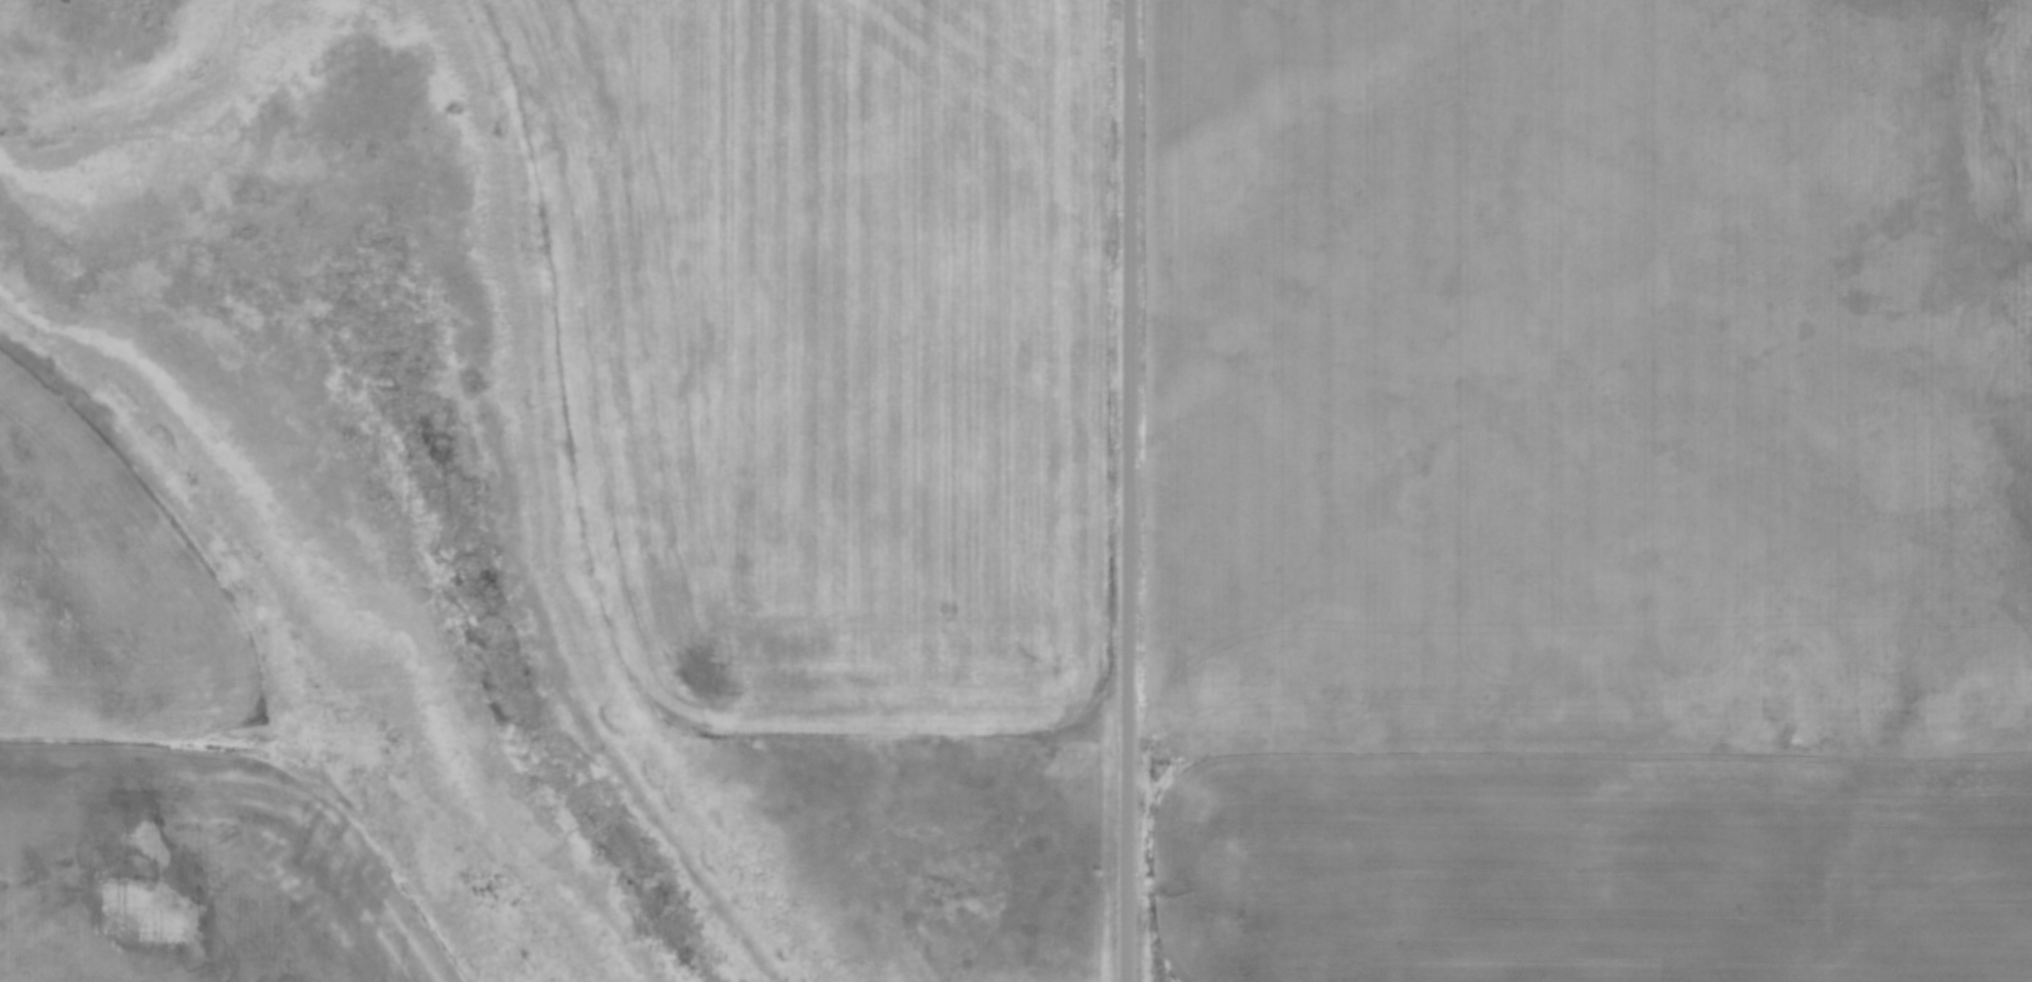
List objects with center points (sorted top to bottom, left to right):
road: (1130, 491)

